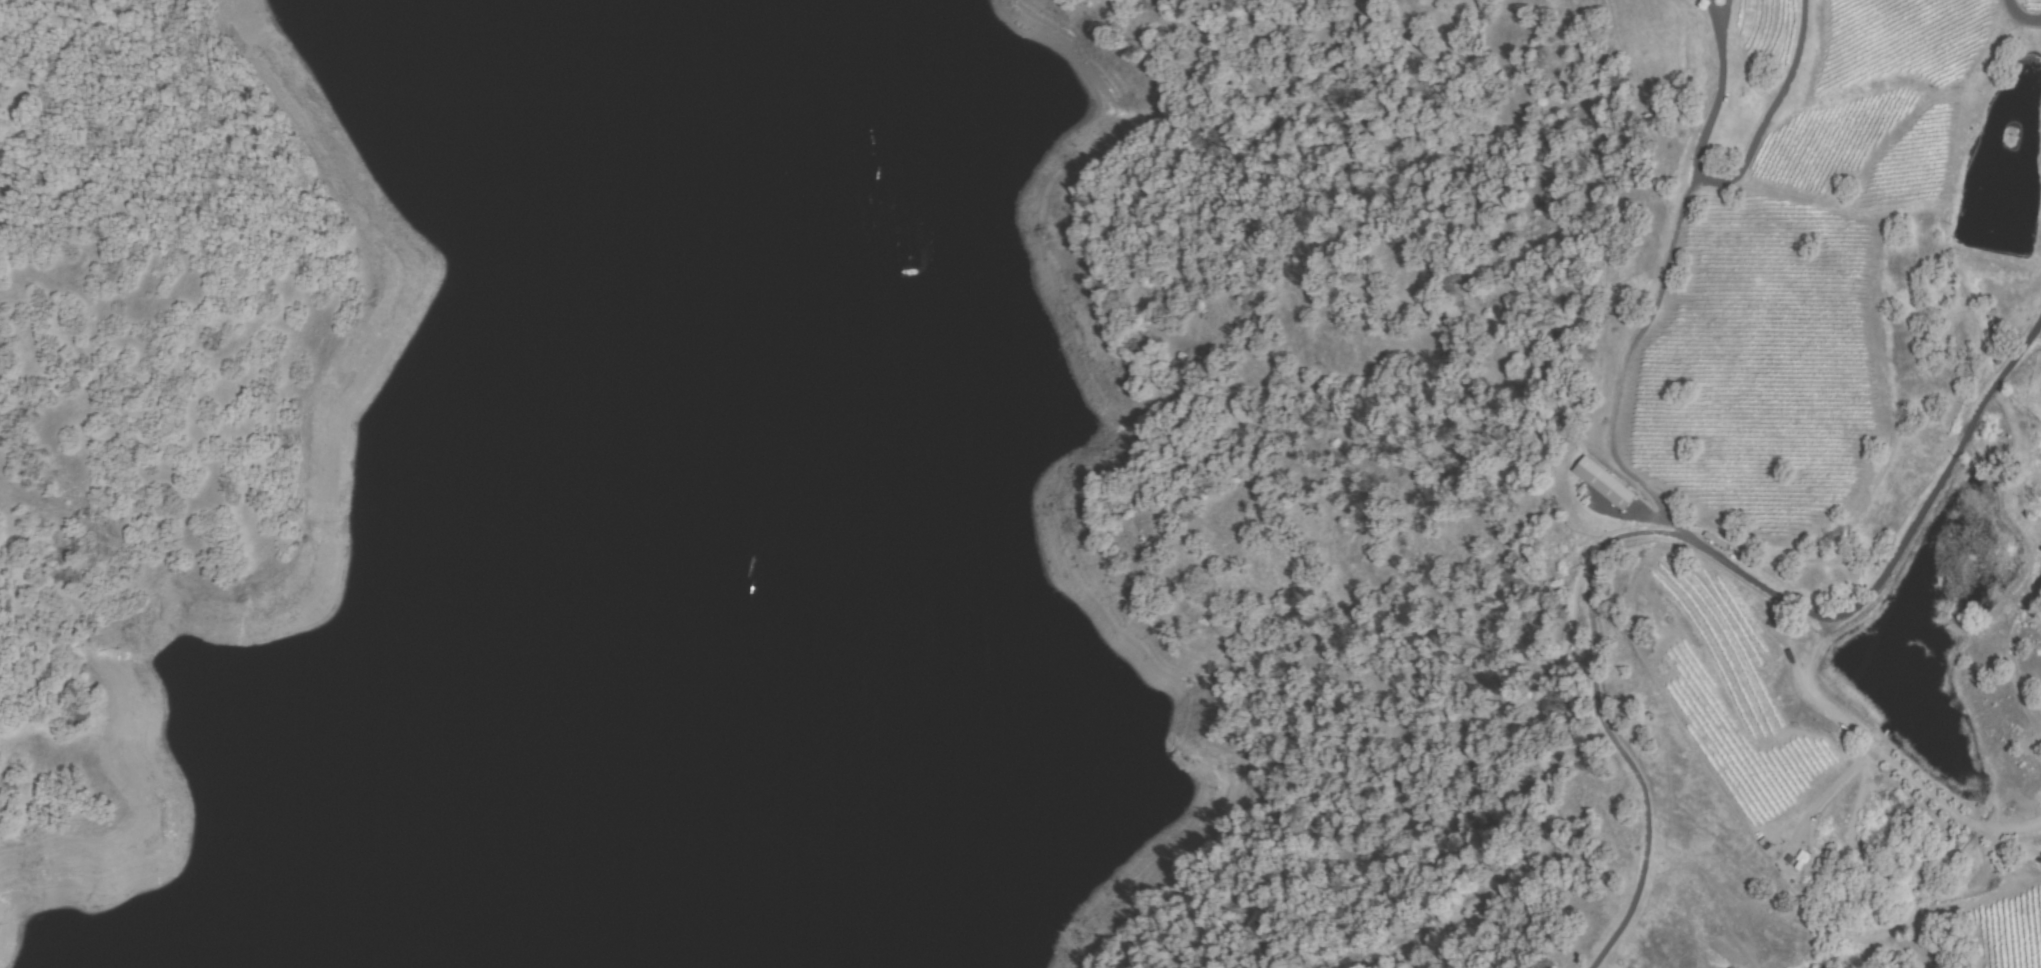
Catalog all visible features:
road: (2016, 354)
building: (1604, 482)

